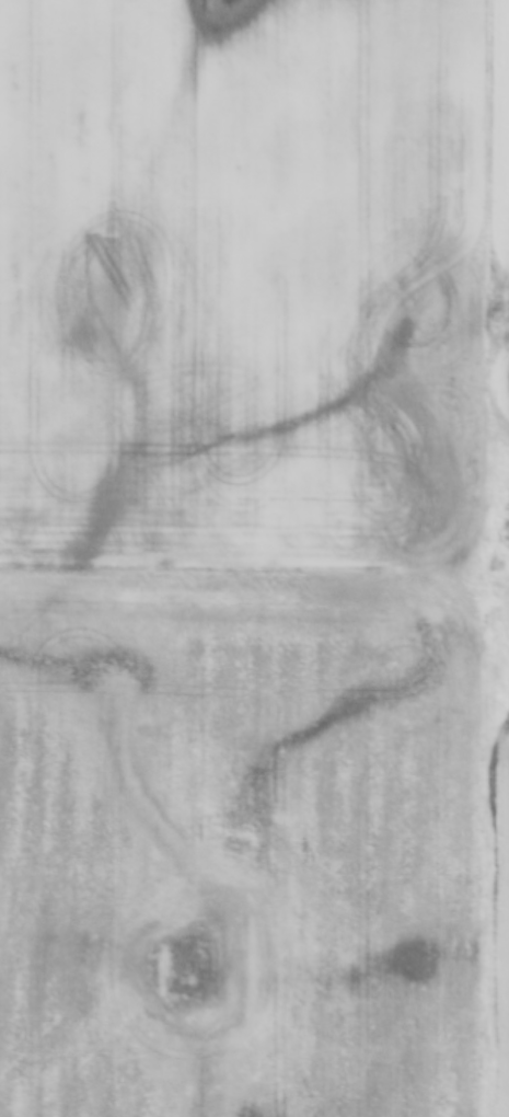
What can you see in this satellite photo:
road: (143, 845)

